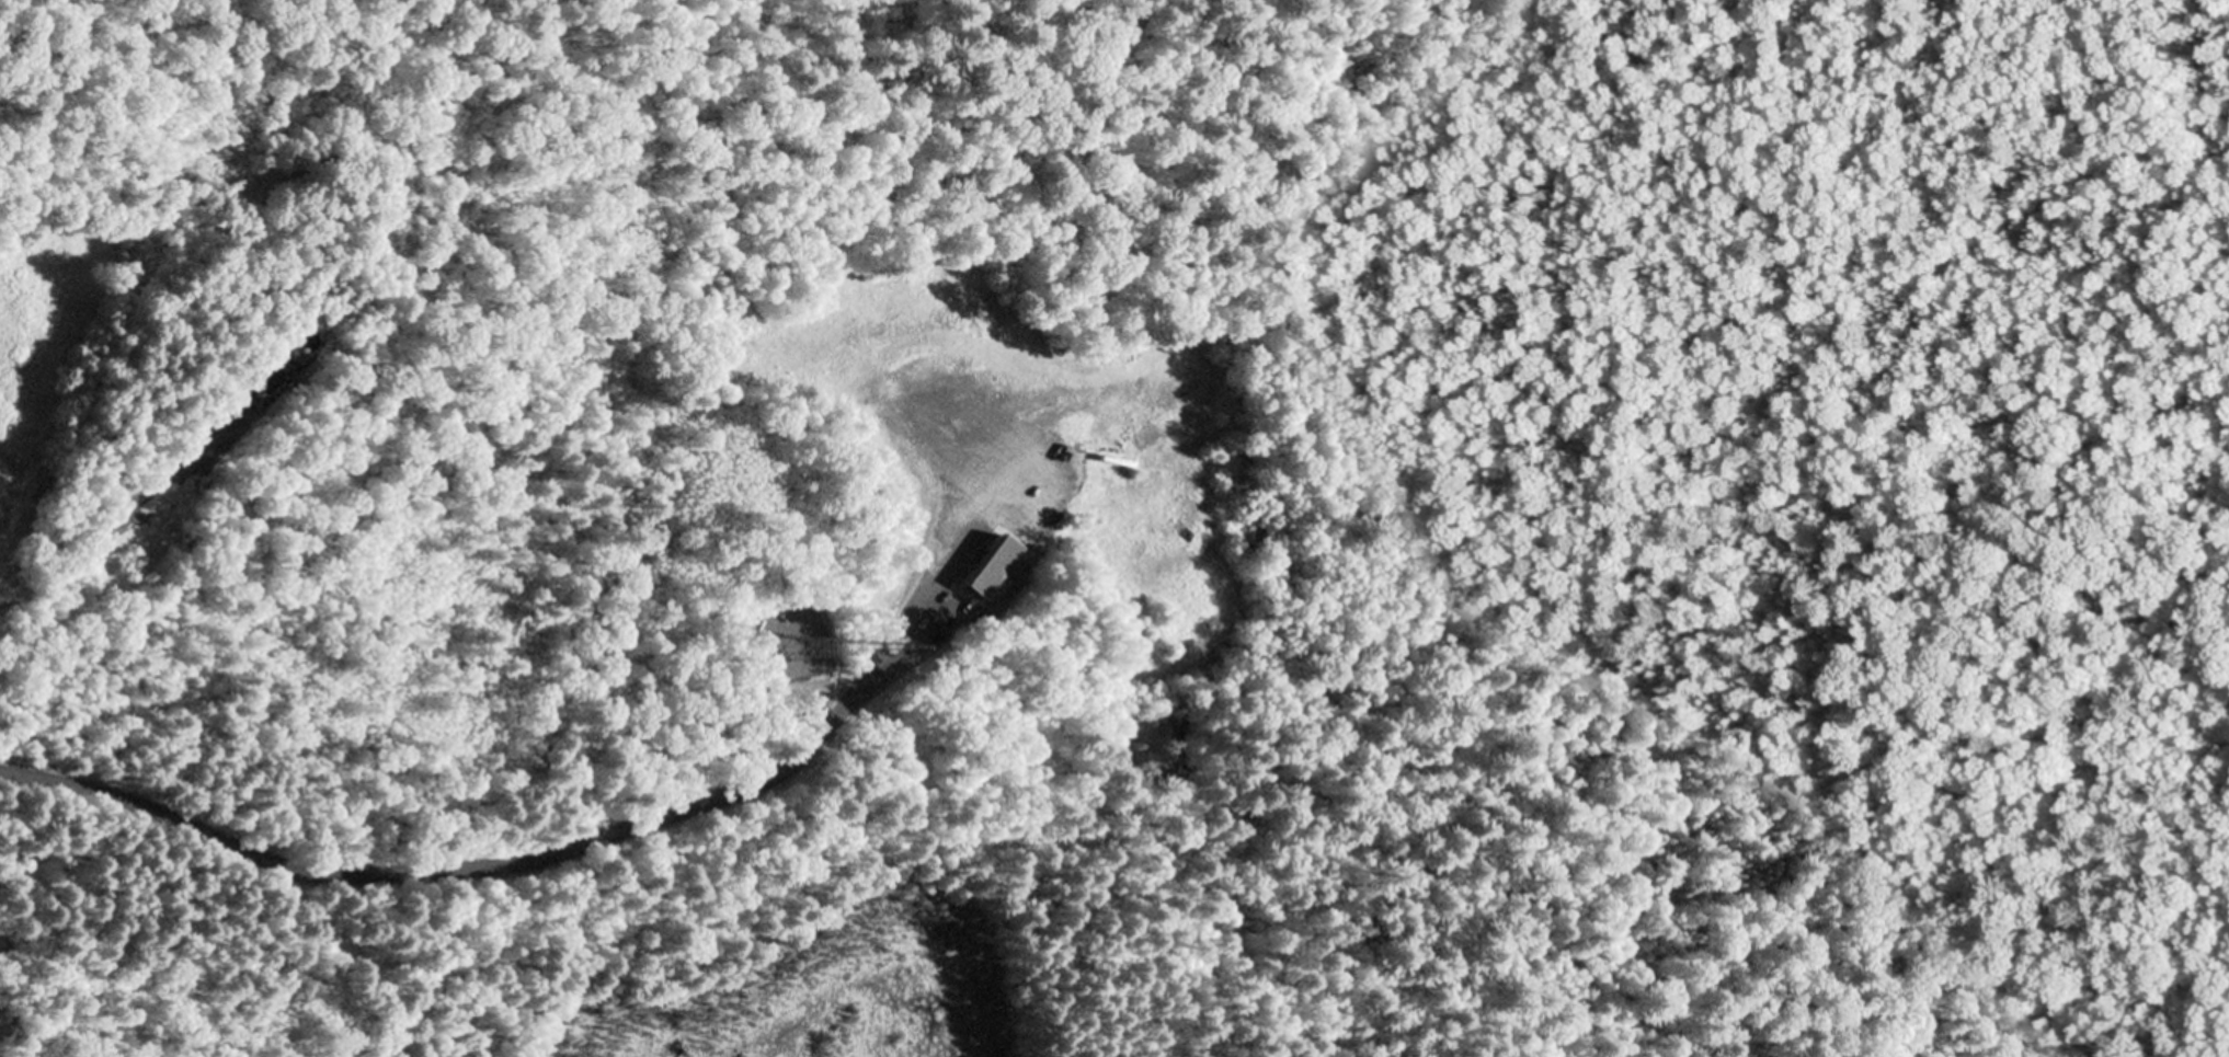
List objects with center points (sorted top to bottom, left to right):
park: (508, 260)
building: (988, 570)
landfill: (700, 629)
road: (544, 861)
park: (743, 947)

